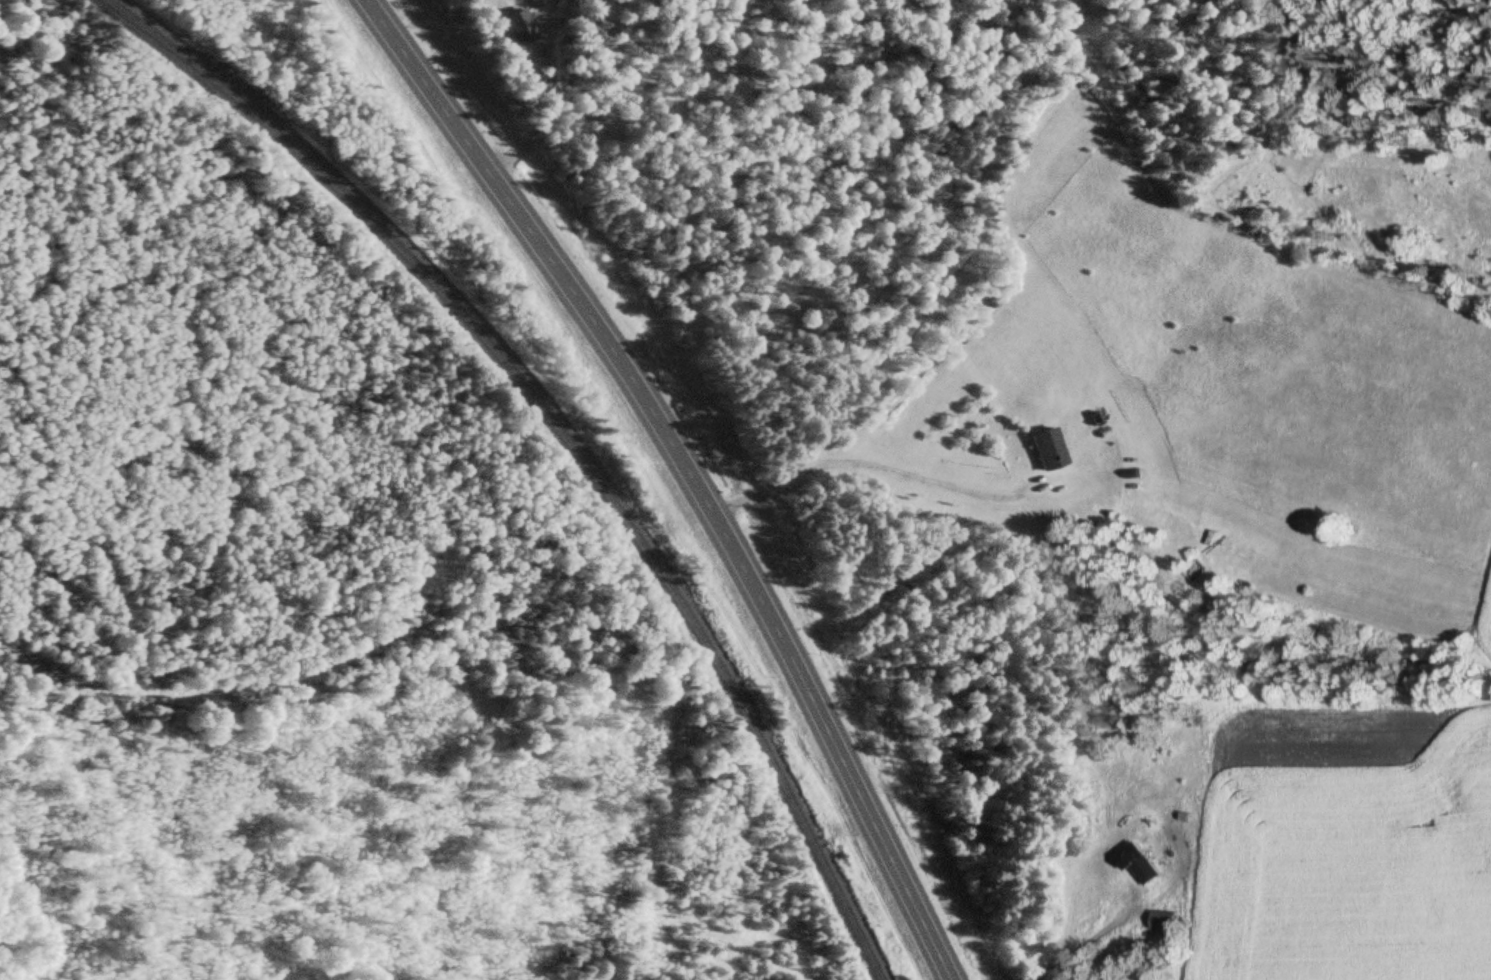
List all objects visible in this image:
railway: (557, 435)
building: (1046, 449)
road: (690, 471)
building: (1140, 866)
building: (1162, 922)

